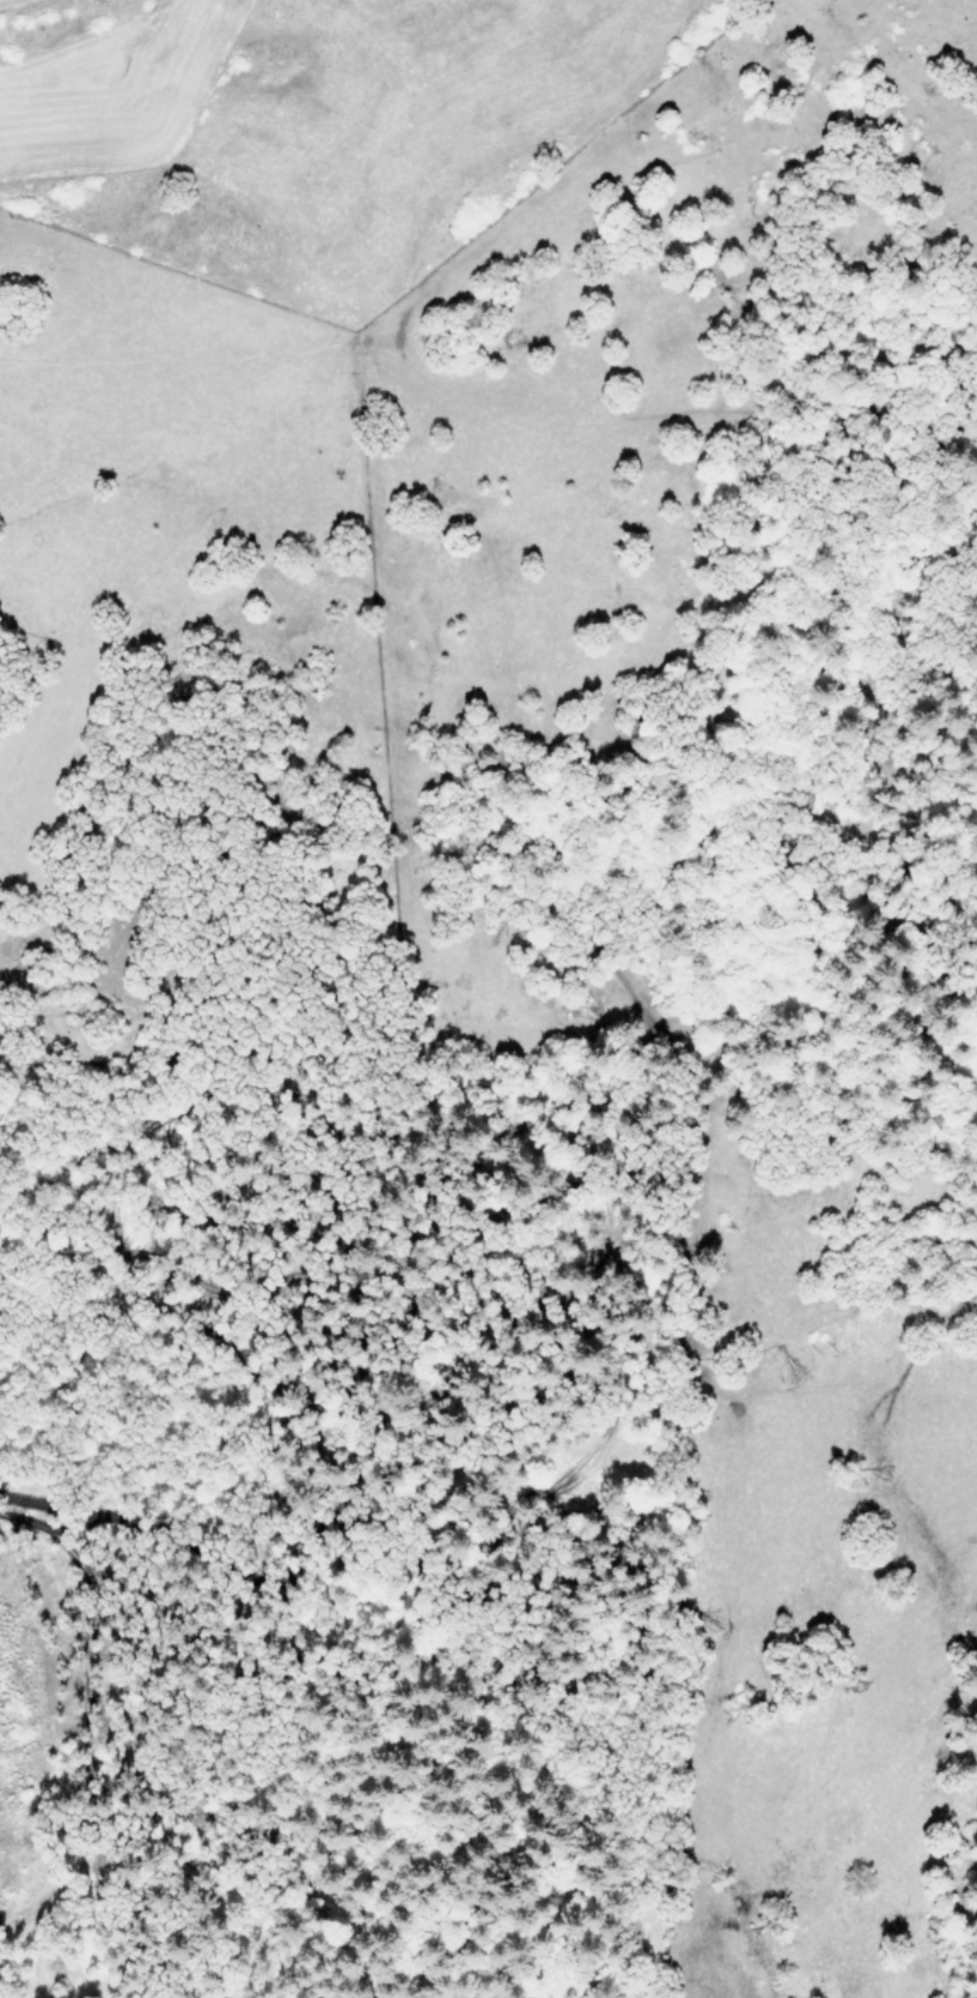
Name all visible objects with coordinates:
crop: (209, 129)

